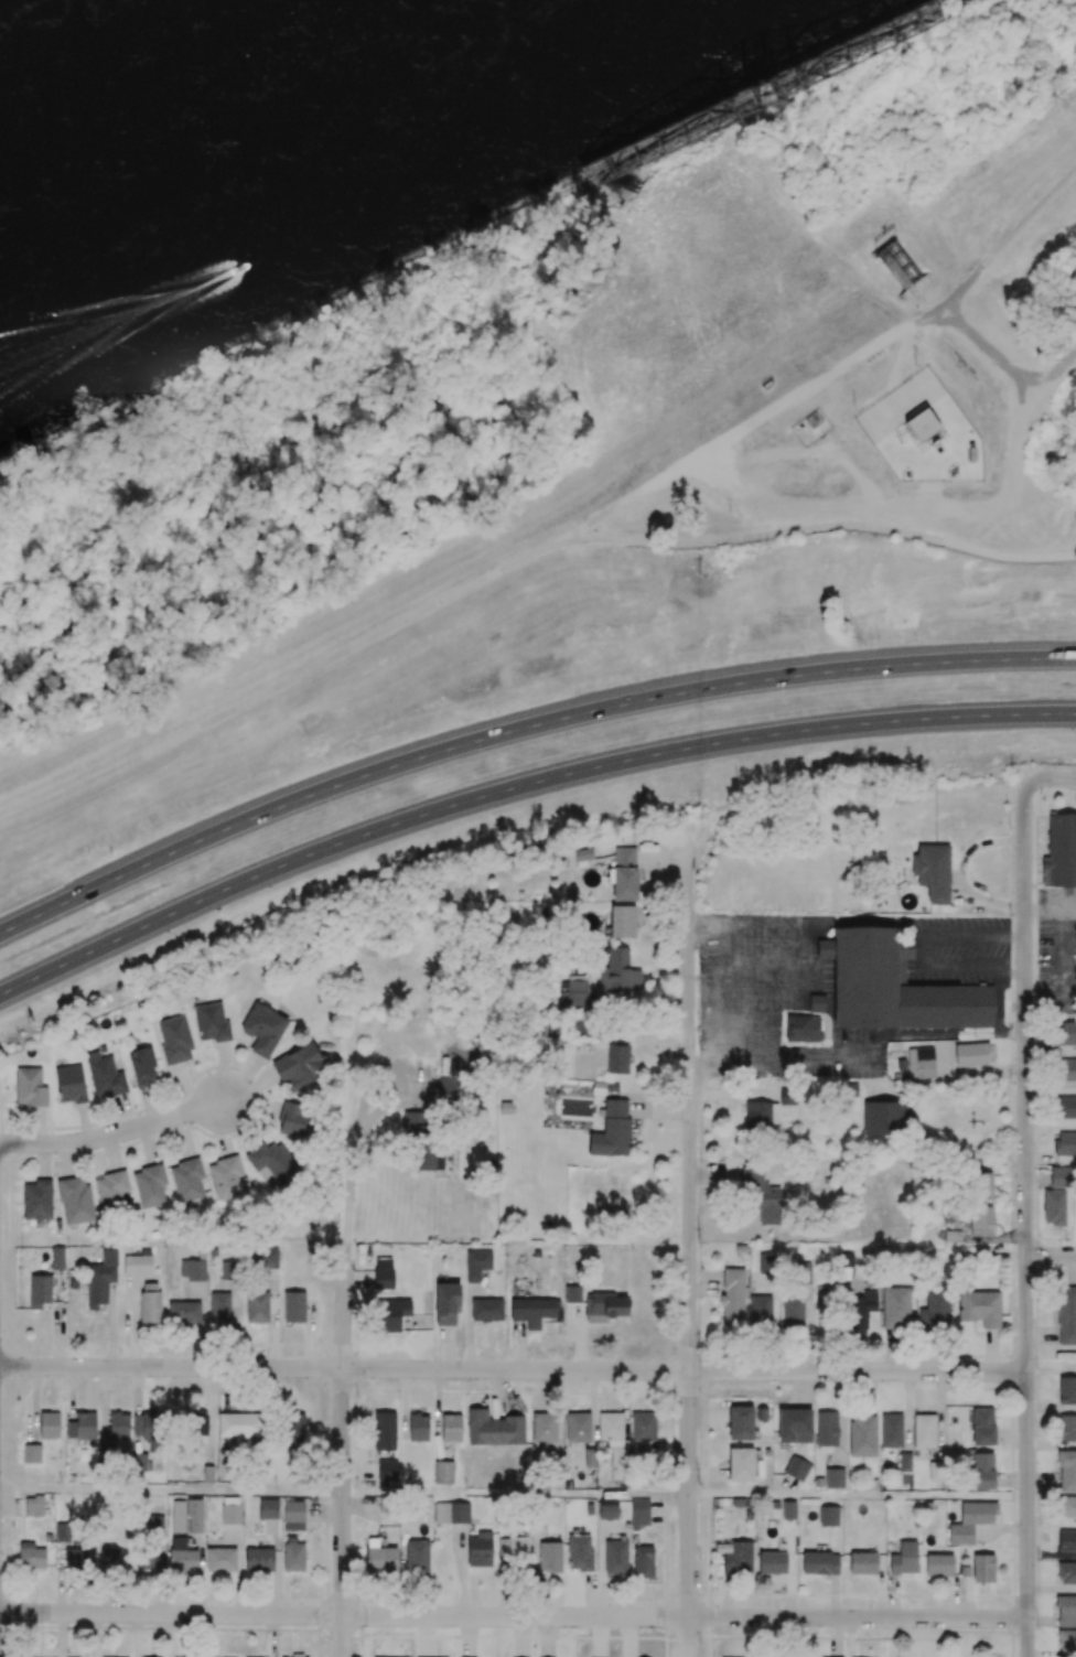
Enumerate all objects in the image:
railway: (756, 89)
river: (200, 98)
road: (1033, 205)
building: (897, 263)
road: (973, 335)
road: (1057, 374)
building: (922, 424)
road: (729, 437)
road: (818, 526)
road: (280, 688)
road: (520, 727)
road: (1055, 778)
road: (520, 787)
building: (1059, 852)
building: (582, 853)
building: (933, 872)
building: (624, 874)
road: (822, 921)
building: (622, 922)
road: (973, 934)
building: (824, 949)
road: (923, 951)
road: (1063, 955)
road: (973, 967)
building: (618, 972)
building: (896, 988)
road: (723, 991)
building: (574, 994)
road: (999, 1009)
building: (211, 1023)
building: (581, 1027)
building: (263, 1029)
building: (801, 1029)
building: (1066, 1033)
building: (174, 1040)
building: (971, 1055)
building: (617, 1059)
building: (921, 1063)
building: (299, 1067)
building: (143, 1068)
building: (1064, 1069)
building: (105, 1076)
building: (71, 1084)
building: (30, 1087)
building: (448, 1087)
building: (787, 1096)
building: (761, 1116)
building: (887, 1118)
building: (298, 1122)
building: (413, 1123)
building: (612, 1130)
road: (112, 1133)
building: (426, 1155)
building: (272, 1165)
road: (352, 1165)
building: (187, 1177)
building: (227, 1177)
building: (150, 1183)
building: (110, 1190)
building: (763, 1196)
building: (37, 1201)
building: (75, 1201)
building: (610, 1213)
road: (1025, 1217)
road: (688, 1246)
road: (1051, 1256)
building: (57, 1258)
building: (266, 1258)
building: (476, 1262)
building: (137, 1263)
building: (193, 1270)
building: (228, 1270)
building: (384, 1273)
building: (101, 1279)
building: (40, 1291)
building: (572, 1294)
building: (150, 1302)
building: (446, 1303)
building: (292, 1304)
building: (257, 1306)
building: (979, 1306)
building: (605, 1308)
building: (219, 1310)
building: (486, 1310)
building: (535, 1311)
building: (183, 1312)
building: (390, 1314)
road: (513, 1368)
building: (740, 1421)
building: (148, 1424)
building: (239, 1424)
building: (643, 1424)
building: (794, 1424)
building: (50, 1425)
building: (578, 1425)
building: (82, 1427)
building: (118, 1427)
building: (197, 1427)
building: (826, 1428)
building: (295, 1429)
building: (891, 1430)
building: (923, 1430)
building: (861, 1434)
building: (766, 1451)
building: (140, 1462)
building: (740, 1462)
road: (343, 1463)
building: (796, 1467)
building: (386, 1468)
building: (443, 1472)
building: (833, 1477)
road: (171, 1491)
road: (515, 1494)
road: (858, 1496)
building: (774, 1504)
building: (35, 1506)
building: (268, 1507)
building: (788, 1509)
building: (828, 1515)
building: (1066, 1538)
building: (549, 1556)
building: (903, 1557)
building: (220, 1558)
building: (259, 1558)
building: (772, 1561)
building: (862, 1561)
building: (1066, 1570)
road: (513, 1616)

